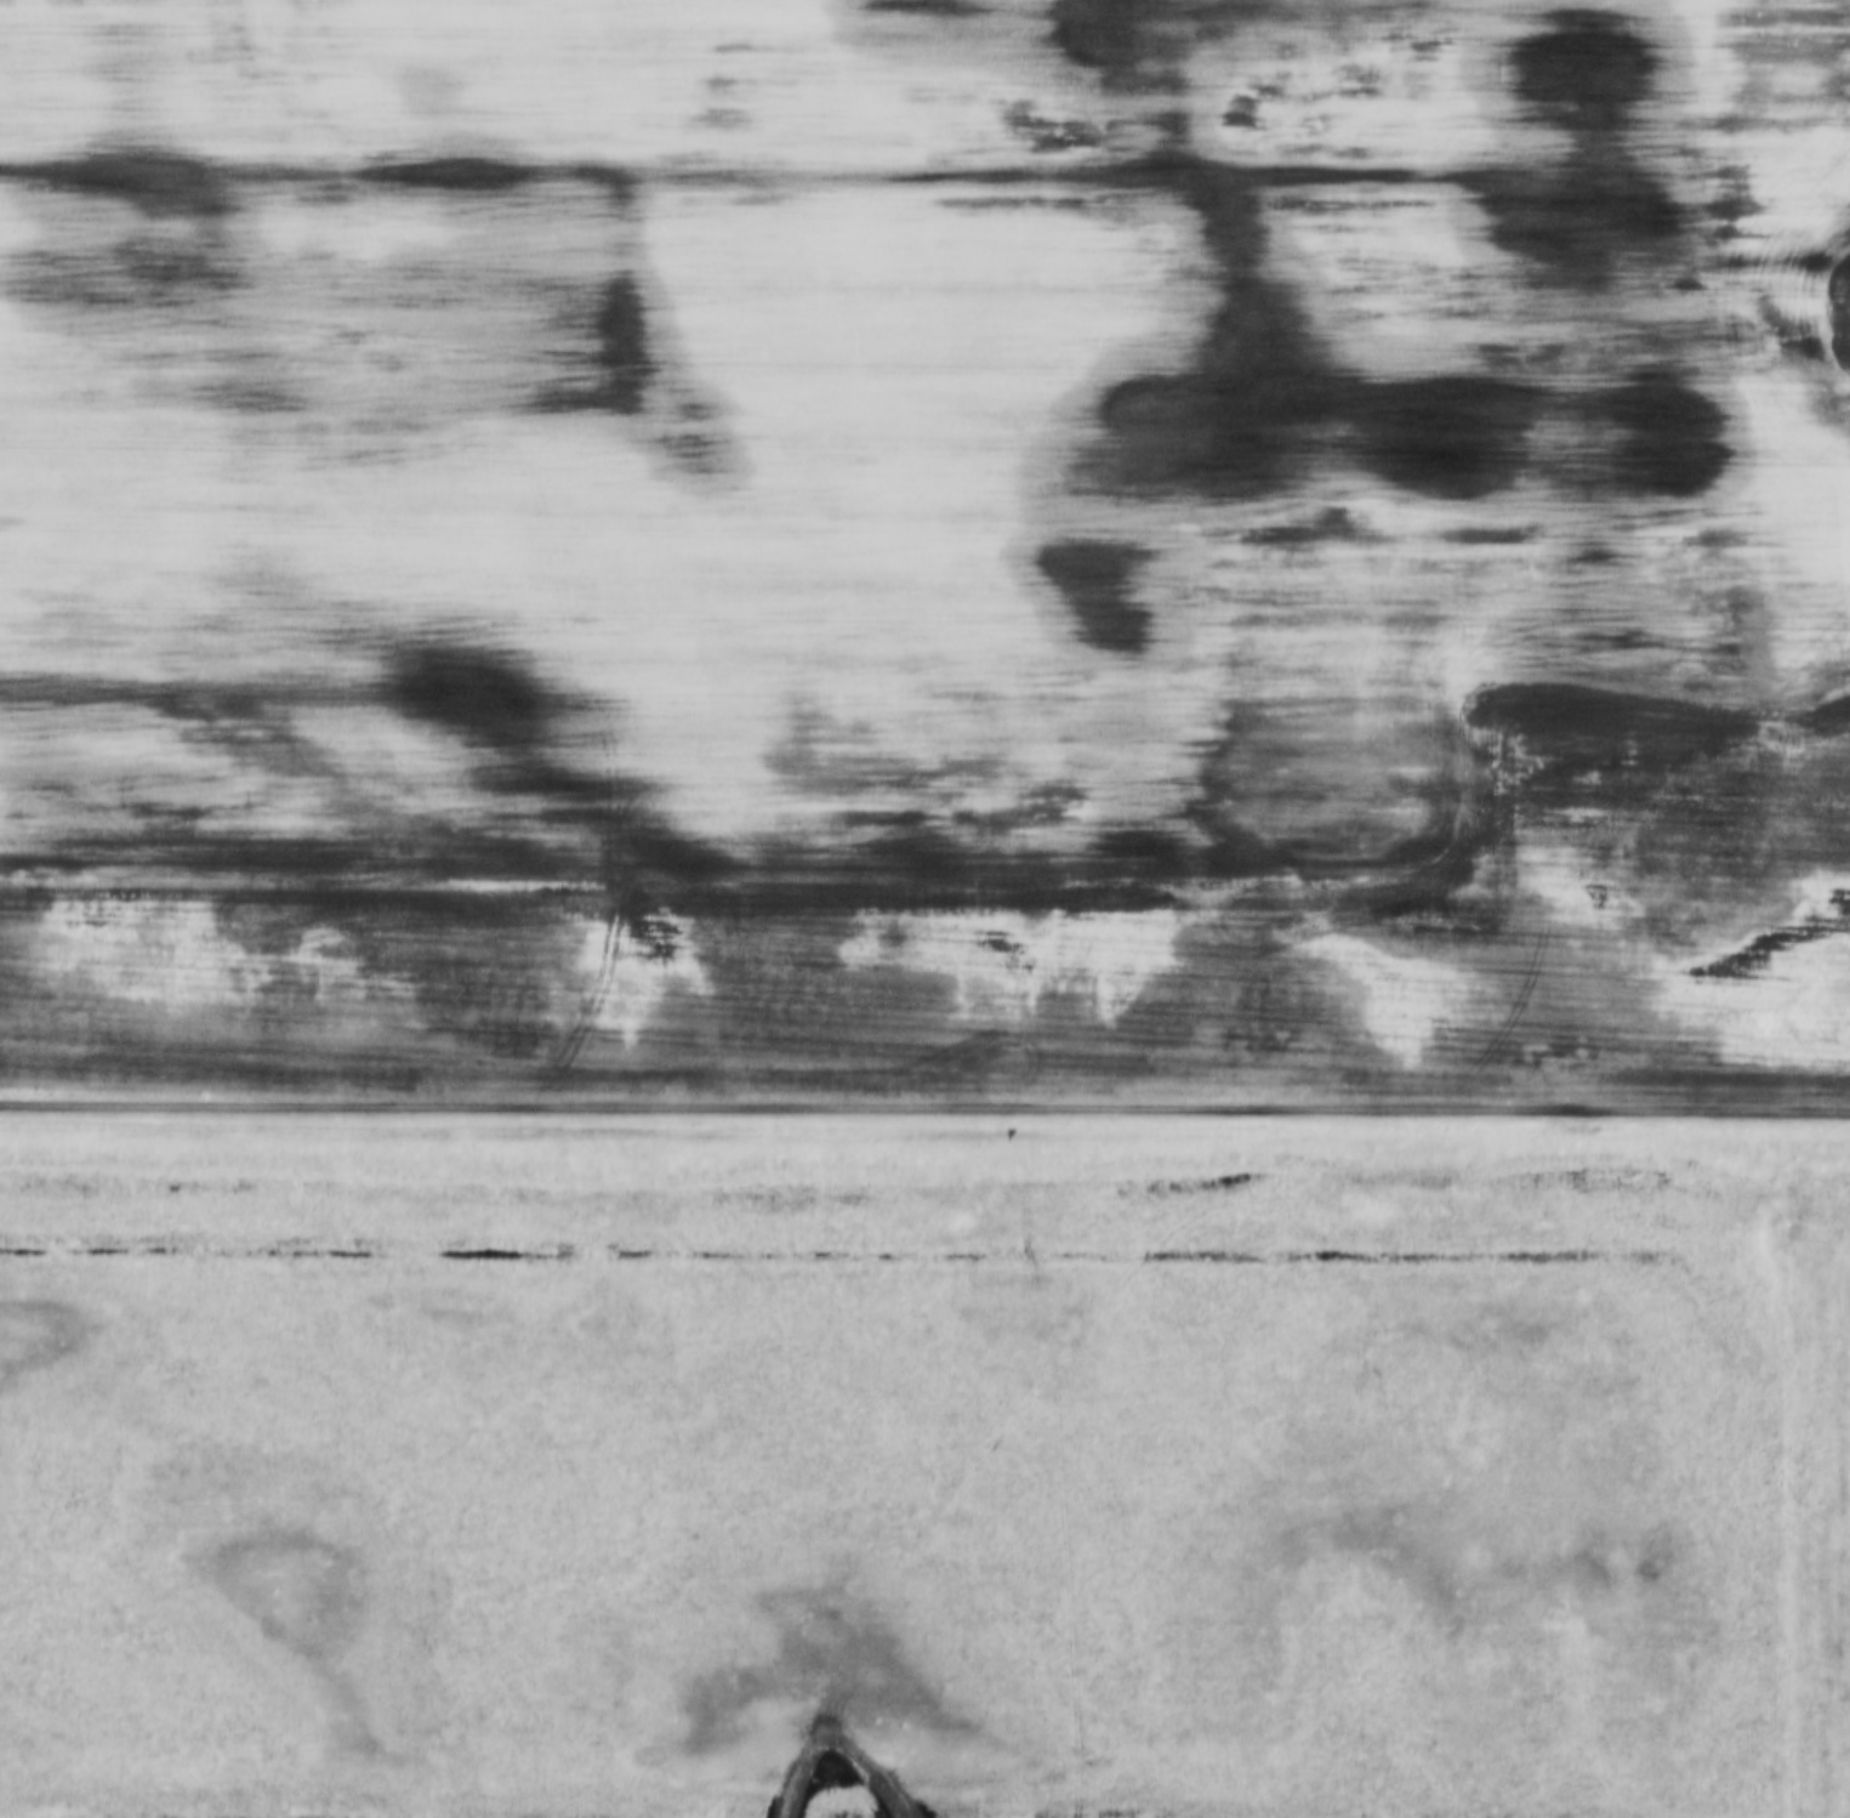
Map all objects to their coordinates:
road: (924, 1108)

